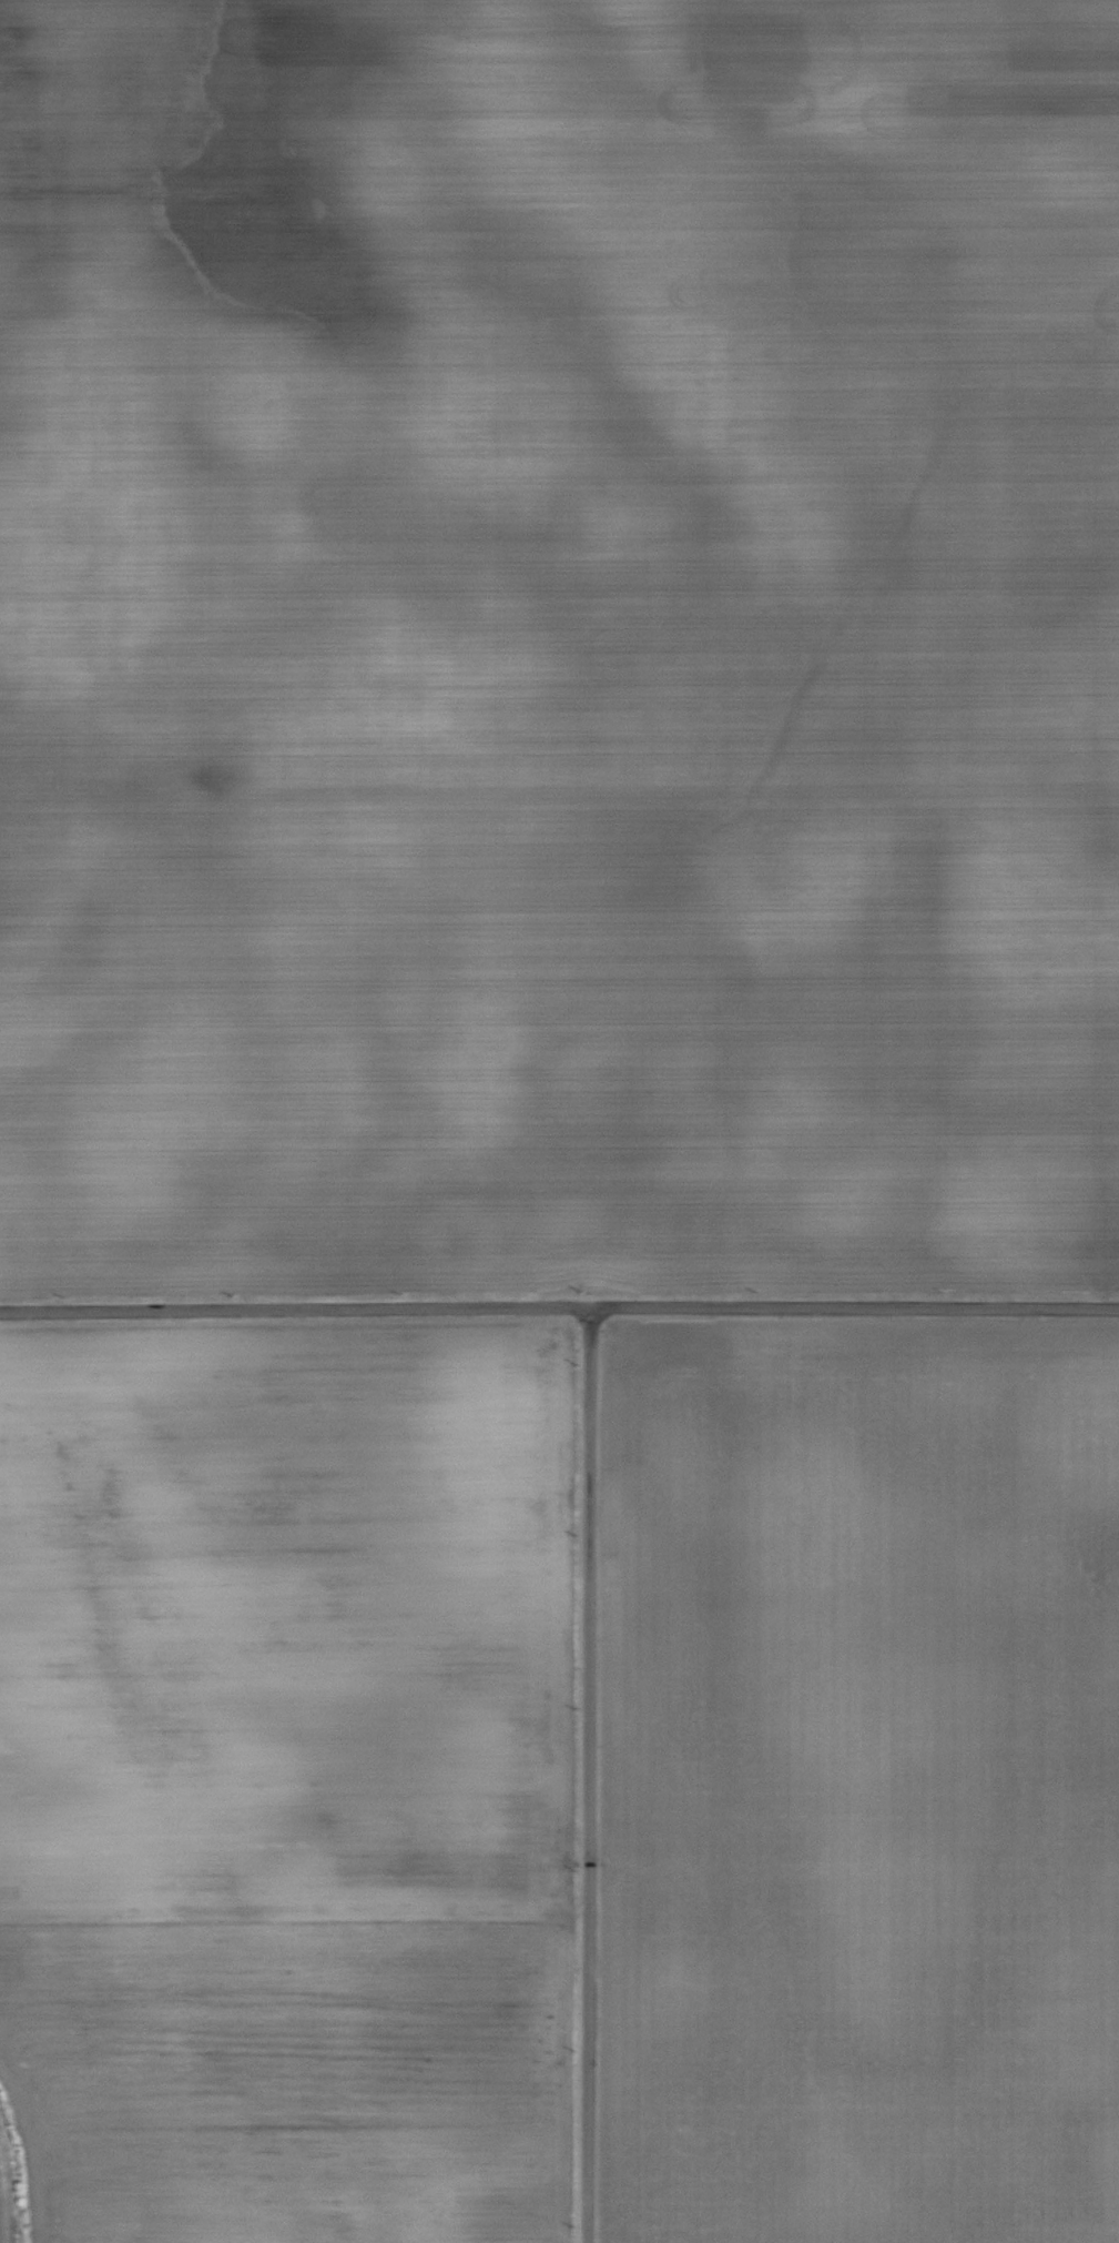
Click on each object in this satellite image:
road: (559, 1304)
road: (592, 1772)

